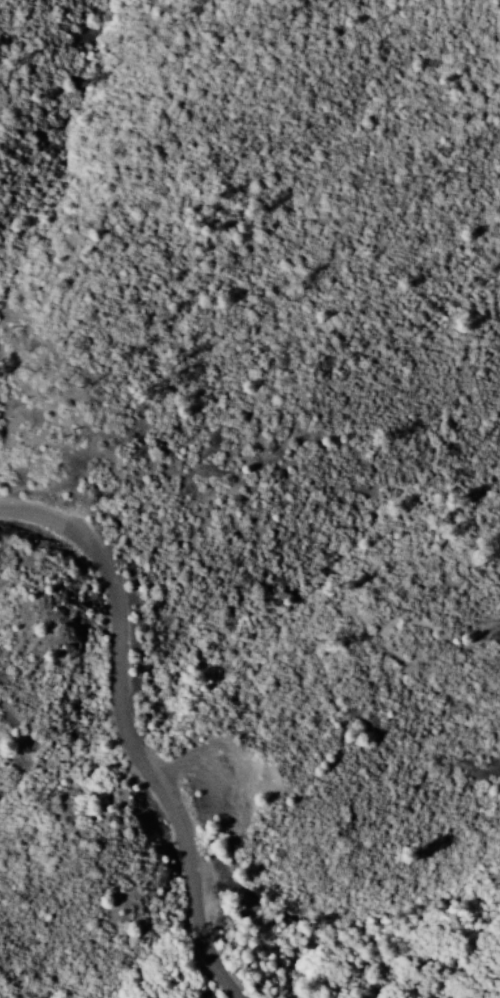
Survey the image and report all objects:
road: (132, 731)

